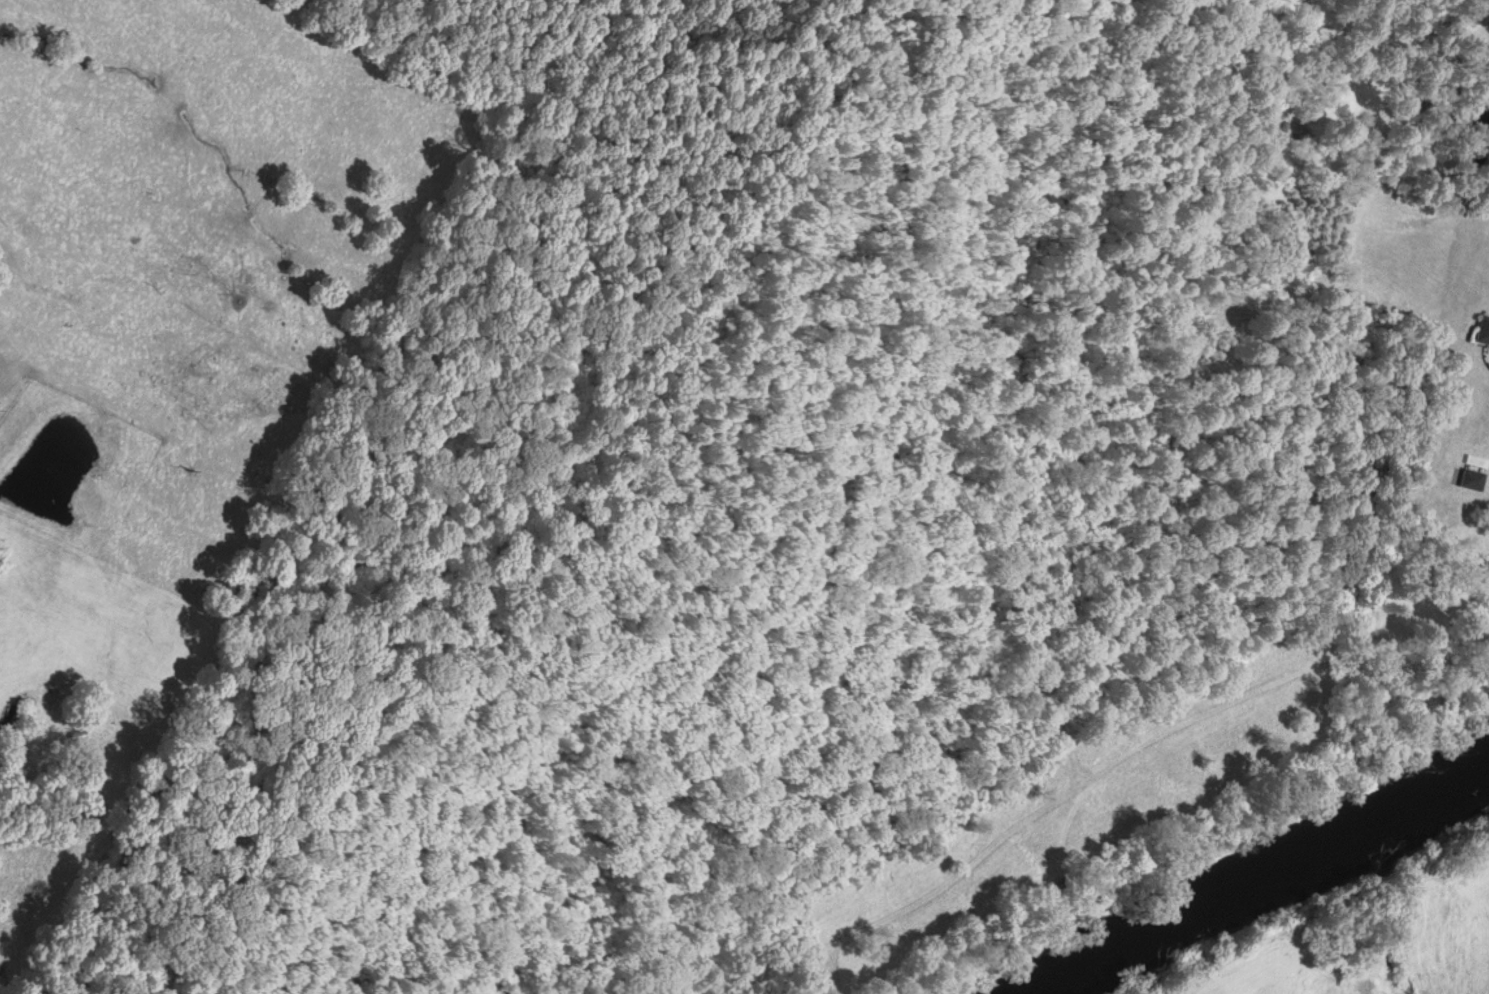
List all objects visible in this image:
river: (1259, 881)

